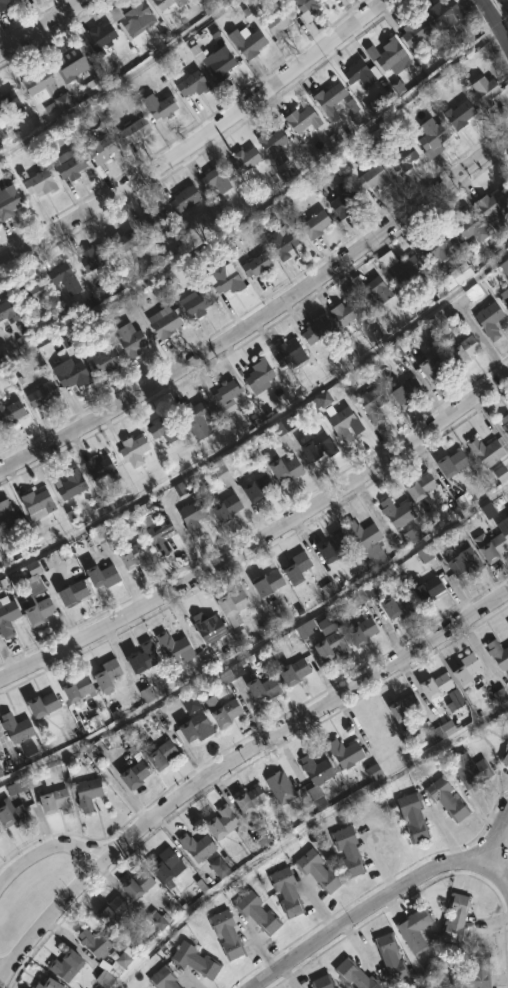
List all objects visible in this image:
building: (169, 4)
building: (4, 5)
building: (309, 9)
building: (446, 12)
road: (496, 20)
building: (136, 22)
building: (280, 23)
road: (40, 25)
building: (417, 30)
building: (165, 35)
building: (103, 37)
building: (249, 43)
building: (387, 52)
building: (71, 64)
building: (220, 64)
building: (361, 72)
building: (97, 83)
building: (39, 84)
building: (194, 84)
building: (397, 87)
building: (487, 90)
building: (332, 99)
building: (10, 102)
building: (63, 102)
building: (161, 105)
building: (351, 106)
building: (373, 106)
building: (462, 114)
building: (305, 118)
building: (137, 129)
building: (434, 137)
road: (199, 140)
building: (275, 145)
building: (104, 148)
building: (404, 158)
building: (246, 159)
building: (70, 163)
building: (375, 176)
building: (217, 180)
building: (507, 181)
building: (42, 182)
building: (187, 197)
building: (345, 199)
building: (9, 200)
building: (494, 205)
building: (158, 221)
building: (317, 224)
building: (471, 226)
building: (125, 240)
building: (283, 242)
building: (437, 245)
building: (95, 257)
building: (260, 263)
building: (505, 266)
building: (407, 269)
building: (460, 274)
building: (66, 277)
building: (227, 278)
building: (375, 290)
building: (473, 292)
building: (32, 293)
building: (505, 294)
building: (197, 303)
building: (8, 311)
building: (350, 311)
road: (262, 317)
building: (492, 319)
building: (166, 322)
building: (319, 330)
building: (132, 339)
building: (399, 347)
building: (467, 350)
building: (291, 354)
building: (106, 360)
building: (439, 367)
building: (73, 374)
building: (261, 375)
building: (408, 390)
building: (227, 394)
building: (43, 397)
building: (320, 400)
building: (374, 402)
building: (12, 413)
building: (198, 418)
building: (504, 422)
building: (343, 423)
building: (284, 425)
building: (166, 429)
building: (321, 446)
building: (135, 450)
building: (487, 450)
building: (455, 462)
building: (229, 464)
building: (288, 468)
building: (103, 469)
building: (500, 474)
building: (72, 483)
building: (423, 486)
building: (260, 487)
building: (180, 489)
building: (274, 502)
building: (39, 504)
building: (228, 507)
building: (487, 511)
building: (398, 512)
building: (194, 516)
building: (8, 518)
building: (503, 527)
building: (102, 534)
building: (163, 535)
building: (413, 535)
building: (368, 539)
building: (492, 542)
road: (261, 544)
building: (336, 546)
building: (424, 554)
building: (137, 555)
building: (467, 562)
building: (40, 566)
building: (300, 568)
building: (106, 575)
building: (32, 580)
building: (270, 583)
building: (431, 589)
building: (327, 590)
building: (75, 593)
building: (365, 594)
building: (235, 606)
building: (400, 607)
building: (39, 610)
building: (8, 616)
building: (326, 625)
building: (210, 627)
building: (305, 628)
building: (364, 632)
building: (333, 646)
building: (177, 647)
building: (499, 653)
building: (145, 657)
building: (469, 669)
building: (235, 671)
building: (296, 671)
building: (110, 674)
building: (439, 686)
building: (79, 688)
building: (266, 688)
building: (499, 696)
building: (454, 700)
building: (191, 702)
building: (45, 705)
building: (405, 706)
building: (224, 711)
building: (95, 722)
building: (199, 727)
building: (19, 728)
building: (443, 730)
building: (1, 748)
building: (346, 752)
building: (32, 754)
building: (164, 755)
building: (505, 758)
road: (231, 762)
building: (472, 769)
building: (138, 772)
building: (373, 772)
building: (0, 774)
building: (318, 778)
building: (21, 785)
building: (280, 788)
building: (89, 793)
building: (252, 799)
building: (448, 799)
building: (58, 802)
building: (14, 815)
building: (415, 816)
building: (224, 822)
road: (493, 838)
building: (262, 840)
building: (198, 846)
road: (46, 850)
building: (350, 852)
building: (170, 863)
building: (219, 868)
building: (320, 871)
building: (140, 885)
building: (288, 893)
road: (379, 903)
building: (114, 910)
building: (259, 912)
building: (457, 919)
building: (156, 920)
building: (416, 929)
building: (228, 934)
building: (98, 942)
building: (392, 958)
building: (196, 961)
building: (68, 966)
building: (114, 969)
building: (476, 973)
building: (356, 975)
road: (2, 976)
building: (164, 978)
building: (324, 982)
building: (51, 984)

